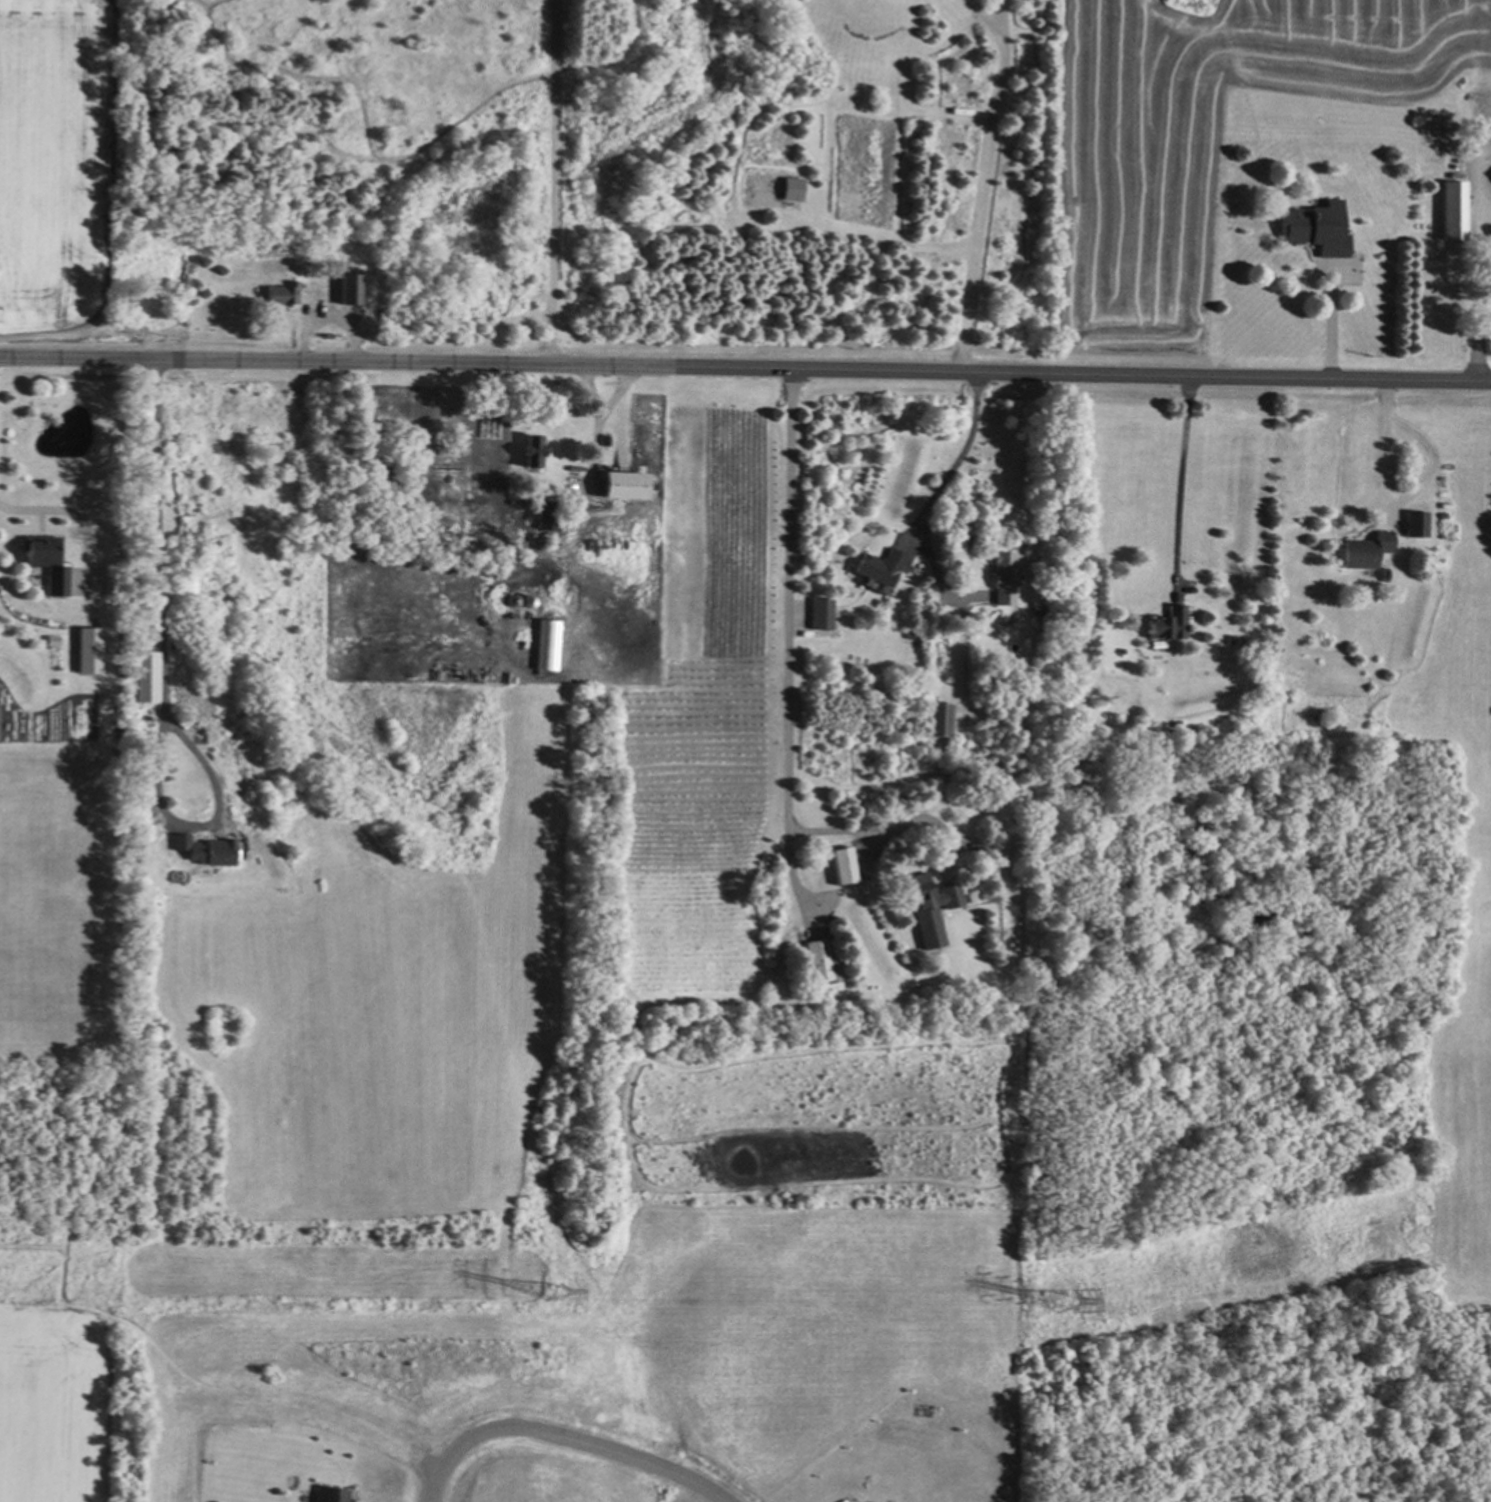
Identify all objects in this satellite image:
road: (1005, 22)
crop: (1205, 132)
crop: (57, 161)
road: (983, 181)
road: (552, 186)
building: (791, 188)
building: (1452, 210)
building: (1314, 227)
building: (347, 288)
building: (279, 294)
road: (1330, 323)
road: (1479, 328)
road: (745, 375)
road: (593, 395)
road: (614, 396)
road: (964, 448)
building: (529, 450)
road: (1386, 453)
road: (593, 454)
building: (622, 485)
road: (1179, 490)
road: (81, 509)
building: (1415, 523)
building: (1365, 550)
building: (47, 562)
road: (930, 565)
building: (879, 566)
building: (1002, 578)
building: (822, 613)
building: (1167, 625)
building: (547, 645)
building: (87, 650)
building: (144, 676)
road: (163, 683)
road: (788, 690)
building: (939, 719)
building: (205, 850)
building: (842, 865)
crop: (45, 897)
building: (928, 907)
building: (817, 960)
power tower: (554, 1301)
power tower: (1065, 1302)
crop: (48, 1410)
road: (563, 1439)
building: (330, 1494)

